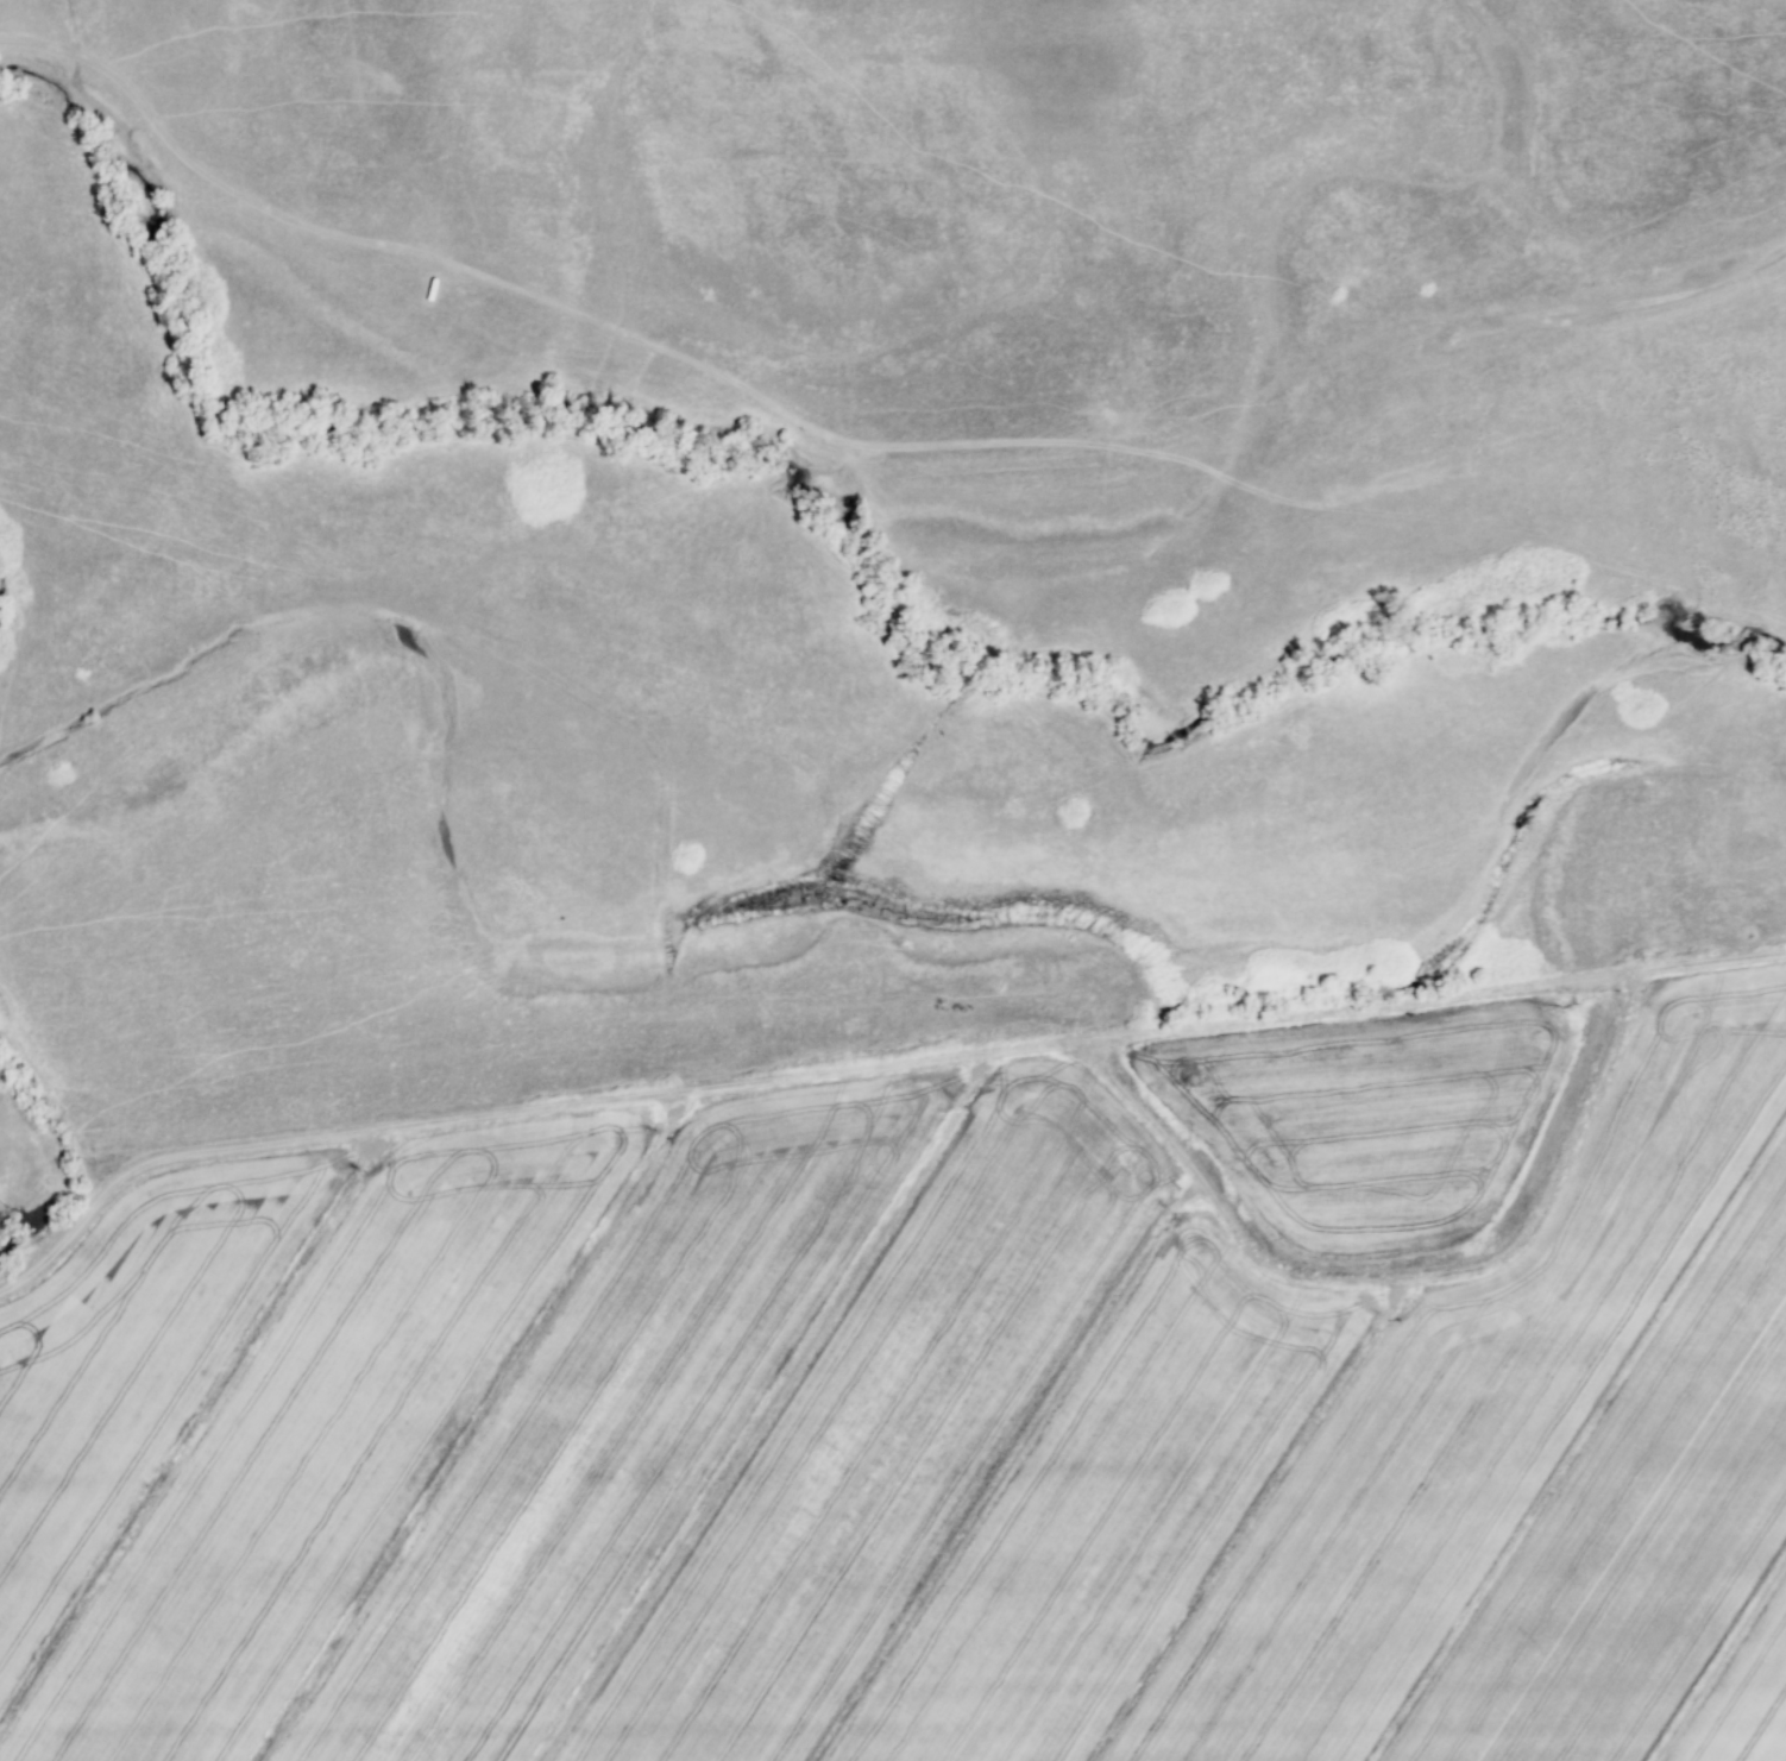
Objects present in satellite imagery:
road: (10, 1291)

